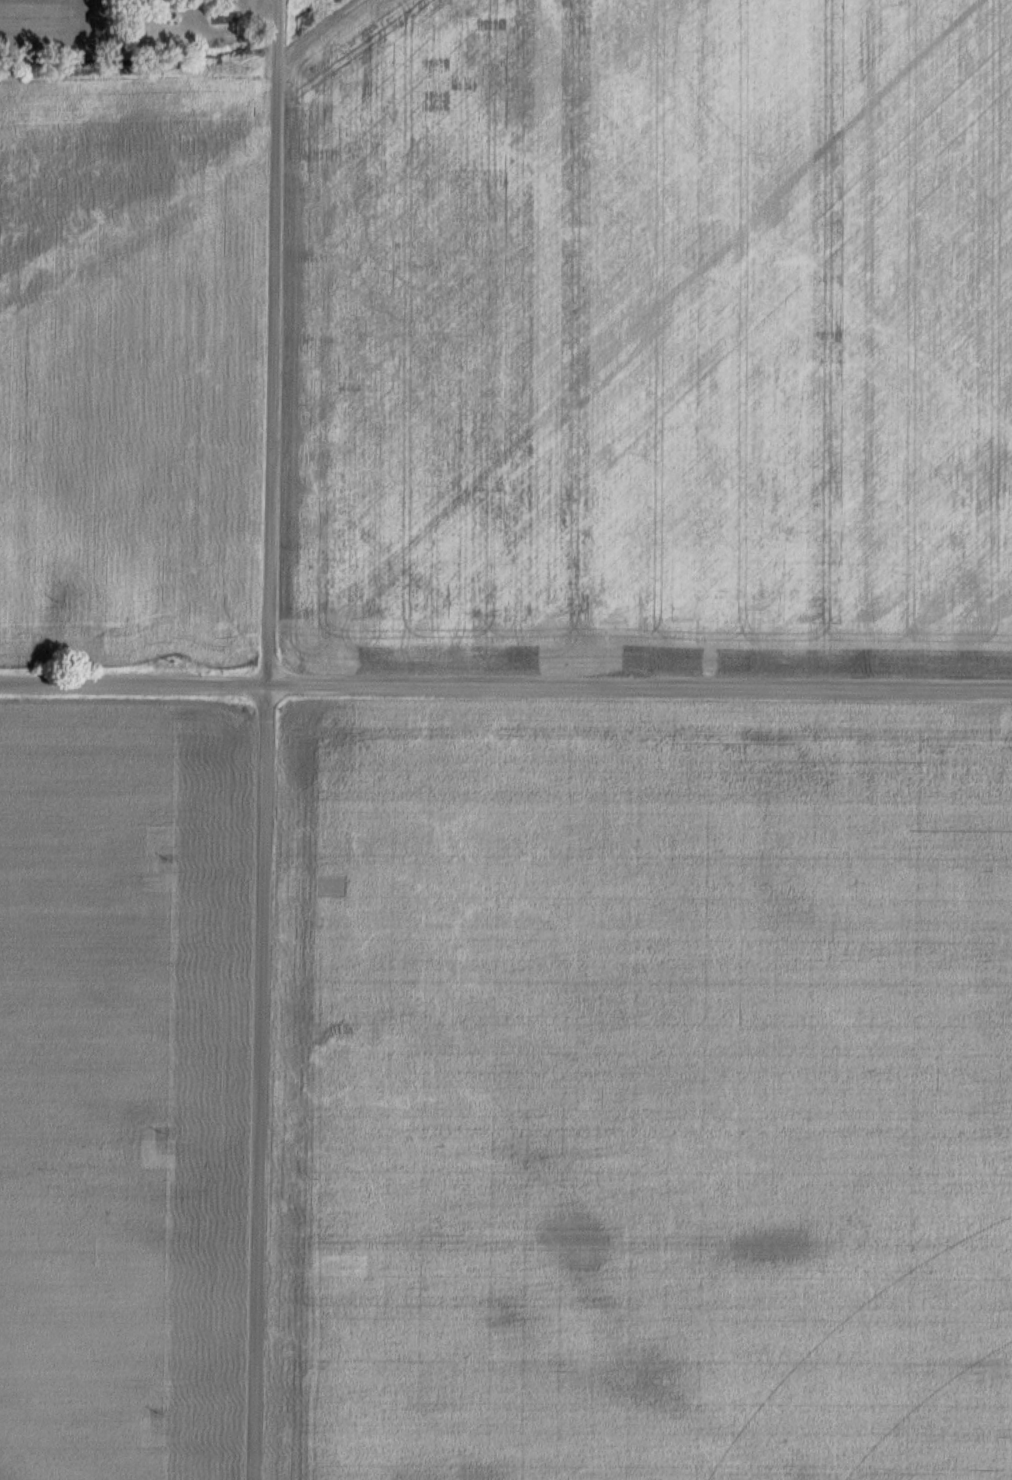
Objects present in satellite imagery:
road: (505, 691)
road: (271, 740)

